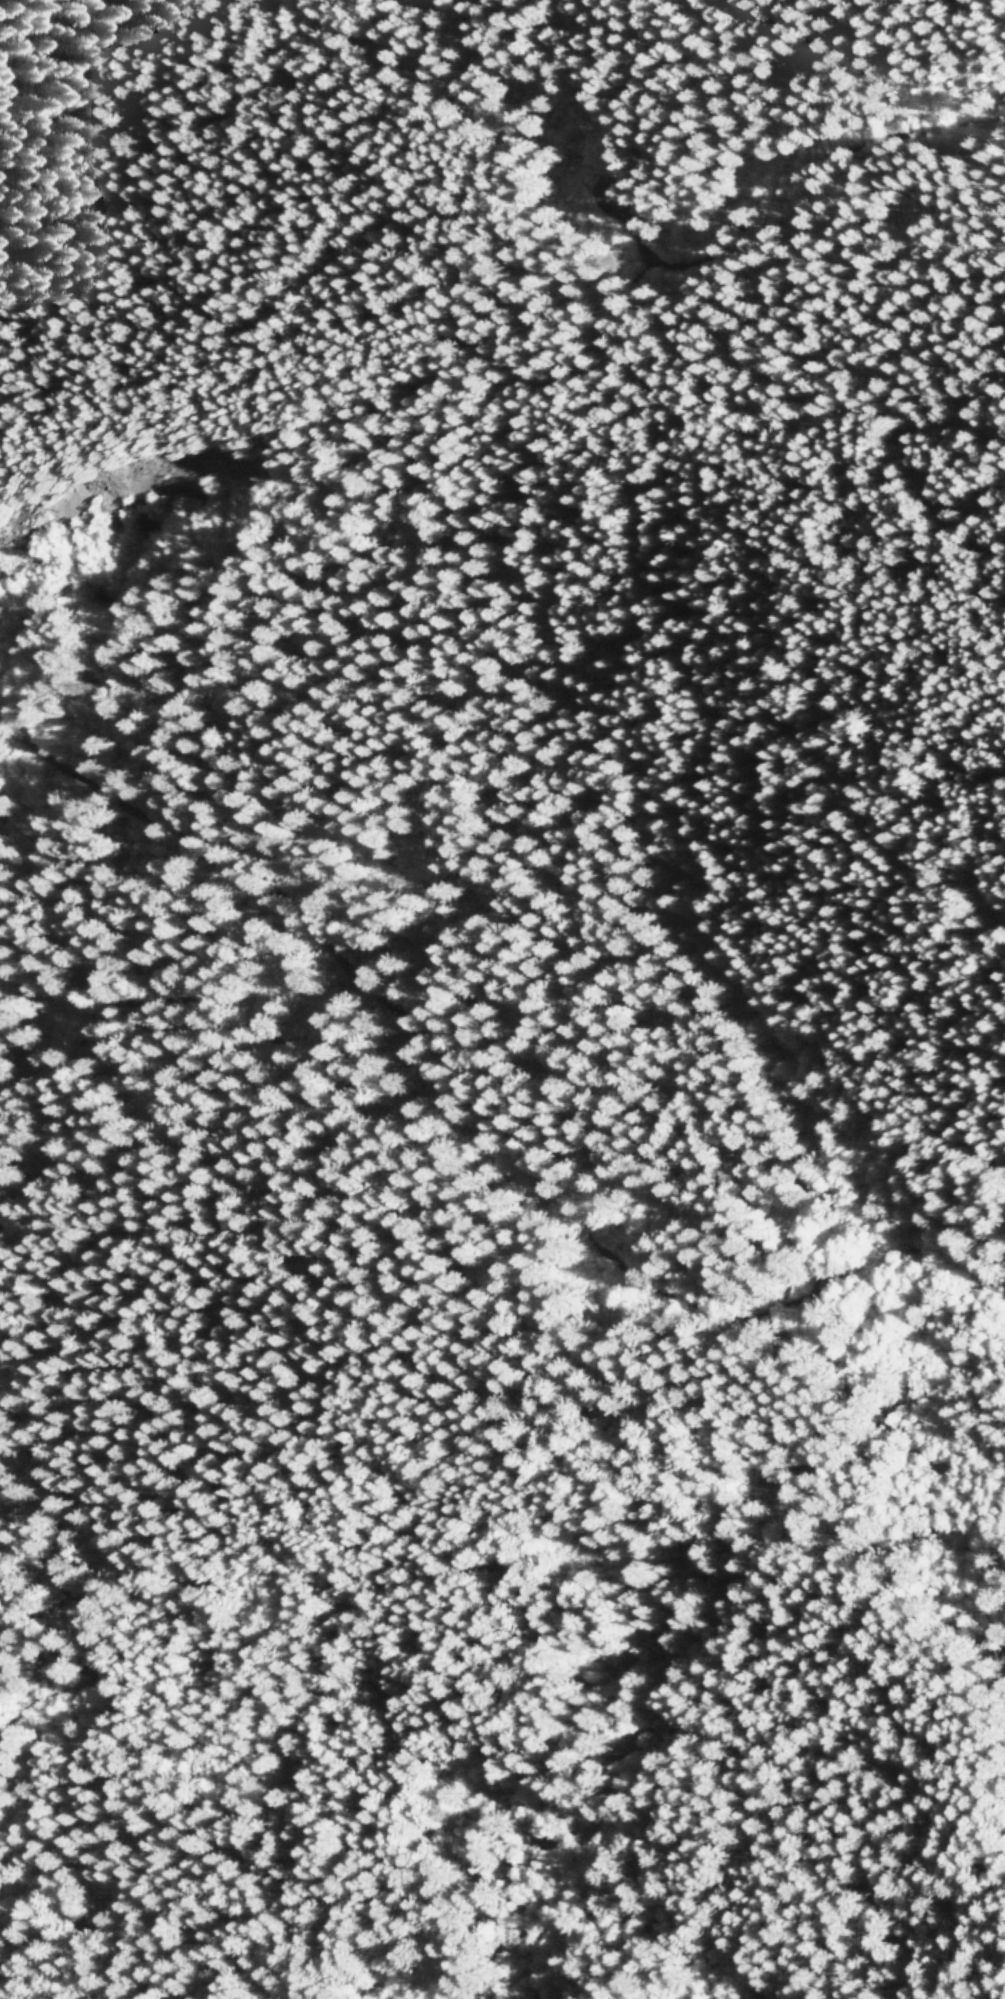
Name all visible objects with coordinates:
road: (797, 163)
road: (468, 1133)

